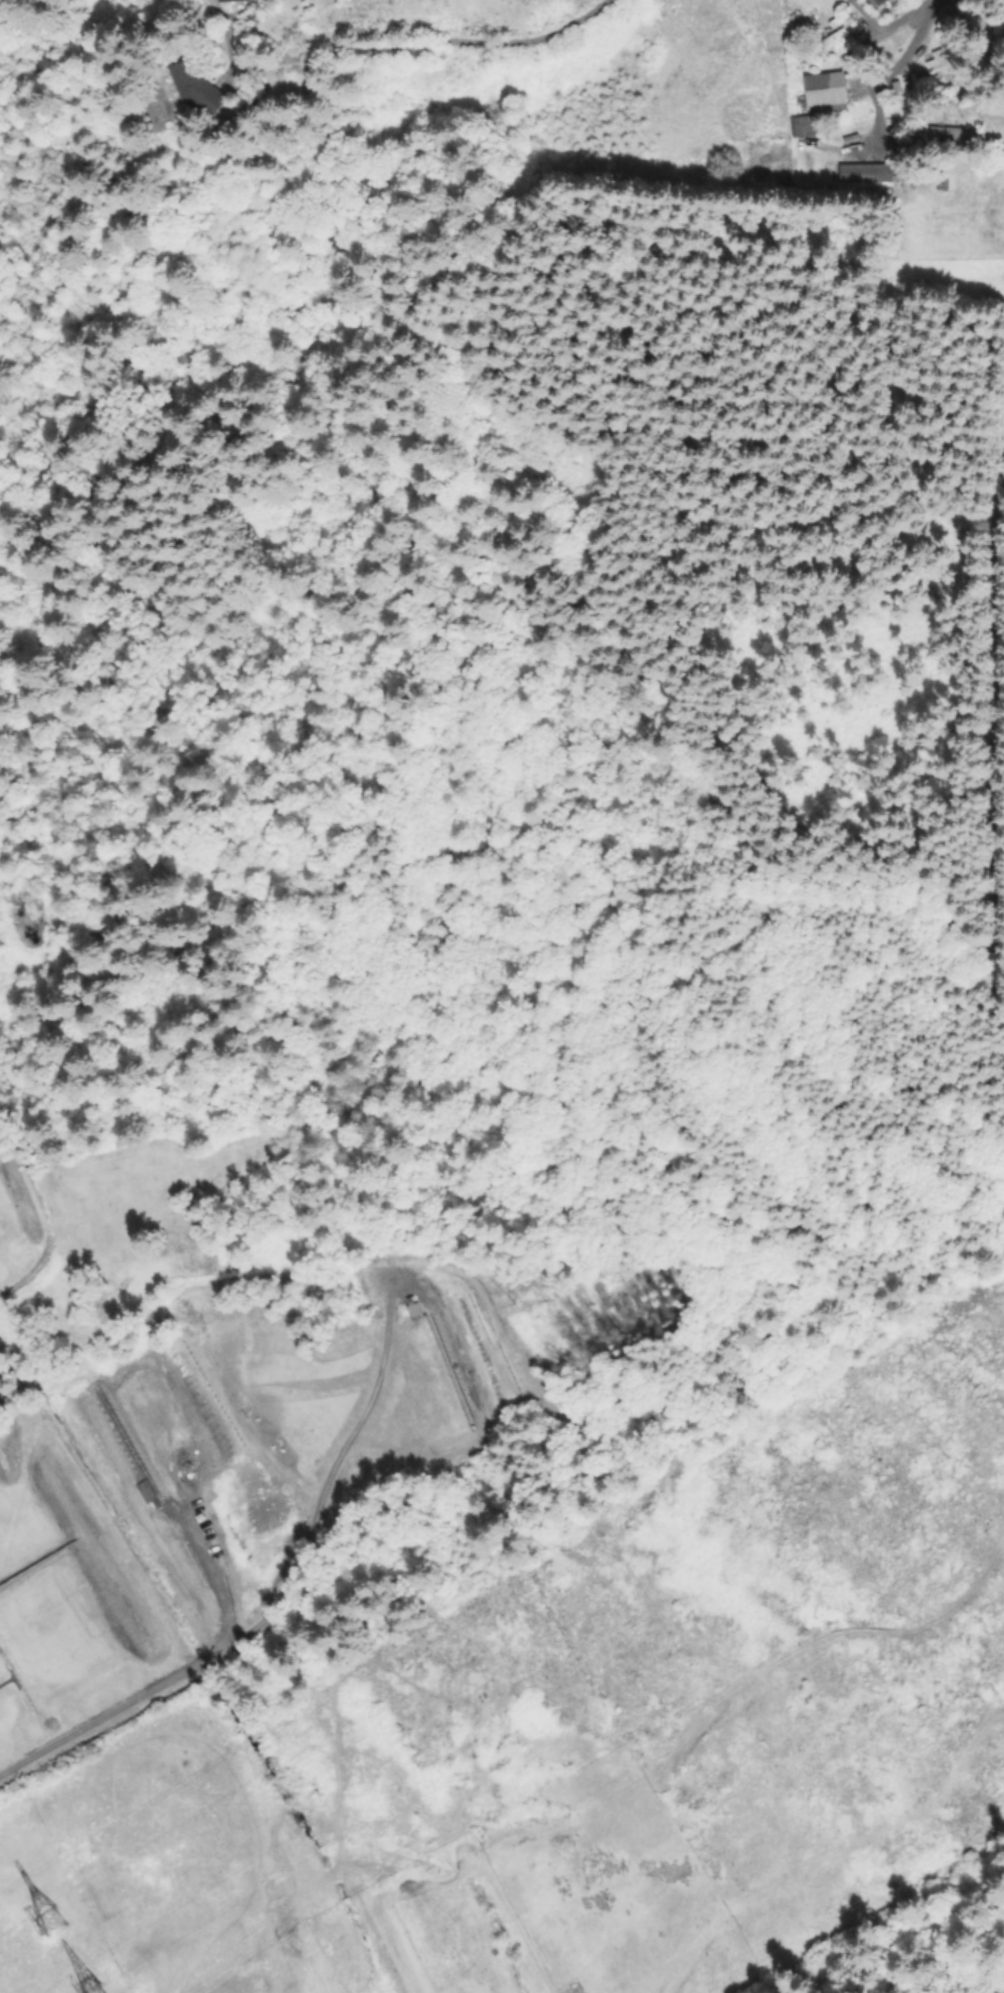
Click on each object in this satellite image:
building: (230, 0)
building: (879, 3)
road: (217, 11)
road: (885, 24)
building: (836, 37)
road: (904, 63)
building: (943, 67)
building: (823, 91)
building: (184, 92)
building: (801, 128)
building: (949, 140)
building: (860, 173)
building: (412, 1311)
building: (148, 1491)
road: (176, 1512)
road: (163, 1686)
power tower: (54, 1915)
building: (49, 1921)

